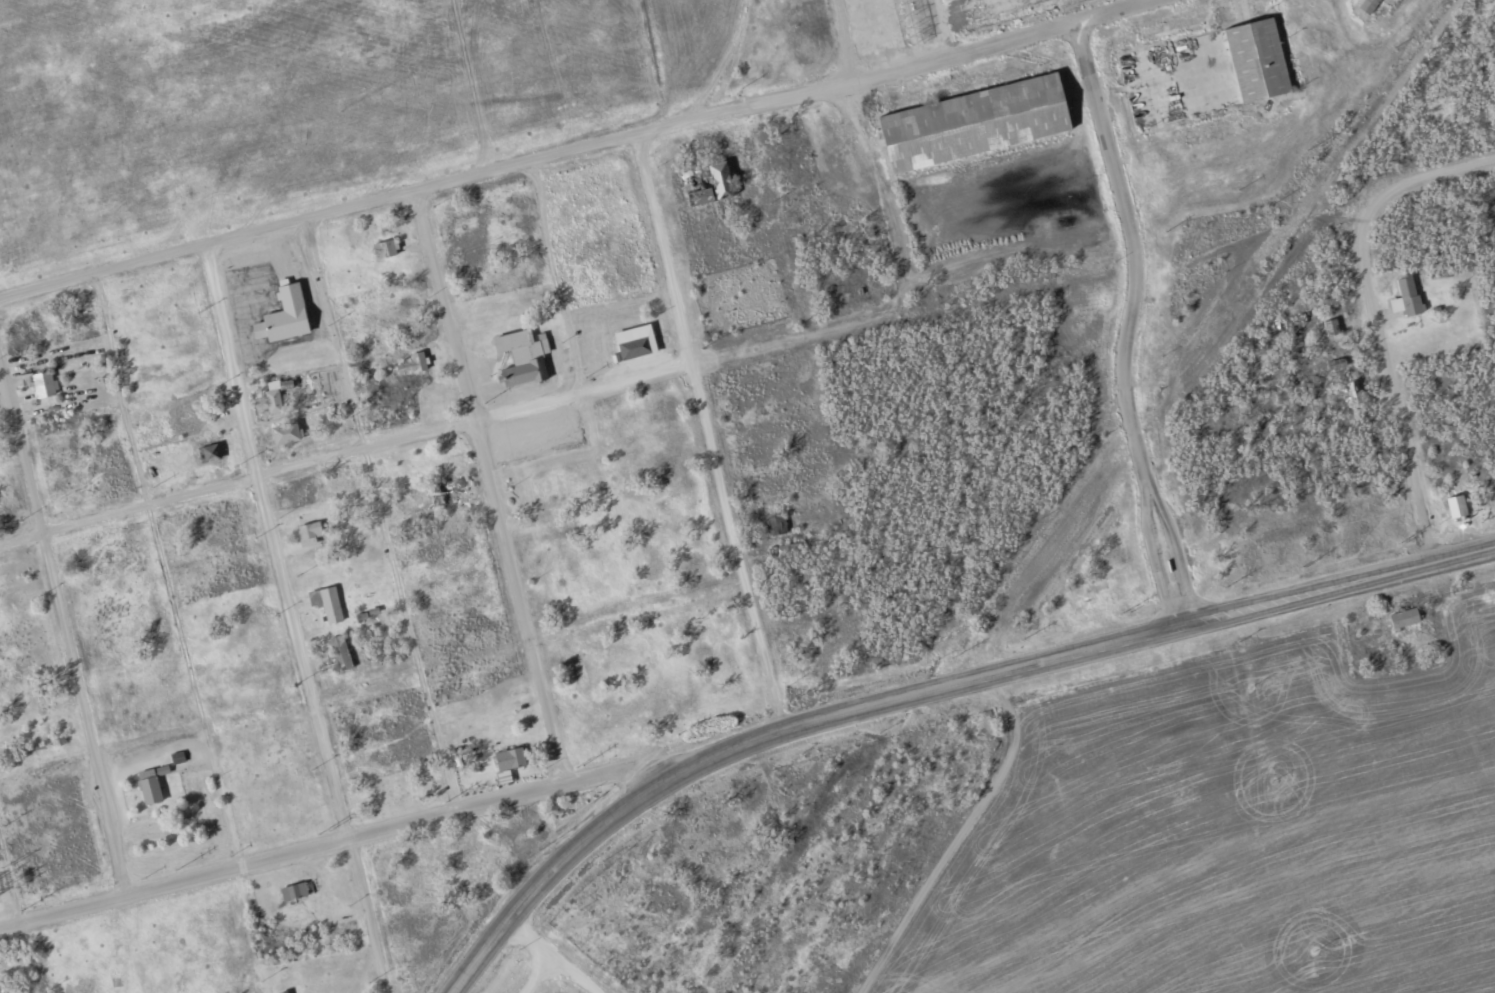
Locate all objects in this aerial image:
building: (1370, 6)
building: (1256, 59)
building: (971, 123)
road: (568, 152)
road: (1423, 176)
building: (717, 185)
building: (384, 248)
road: (555, 275)
building: (1406, 296)
building: (283, 316)
road: (1128, 321)
building: (635, 341)
building: (522, 356)
building: (410, 364)
building: (40, 383)
road: (1394, 388)
building: (273, 398)
road: (709, 430)
building: (285, 432)
building: (210, 452)
road: (346, 452)
road: (490, 485)
building: (443, 493)
building: (1456, 506)
road: (381, 513)
building: (776, 525)
building: (308, 533)
building: (786, 546)
road: (165, 570)
building: (326, 603)
building: (1404, 618)
road: (292, 619)
road: (64, 626)
building: (340, 652)
road: (926, 687)
building: (509, 759)
building: (148, 787)
road: (327, 841)
road: (11, 879)
building: (293, 891)
road: (540, 951)

